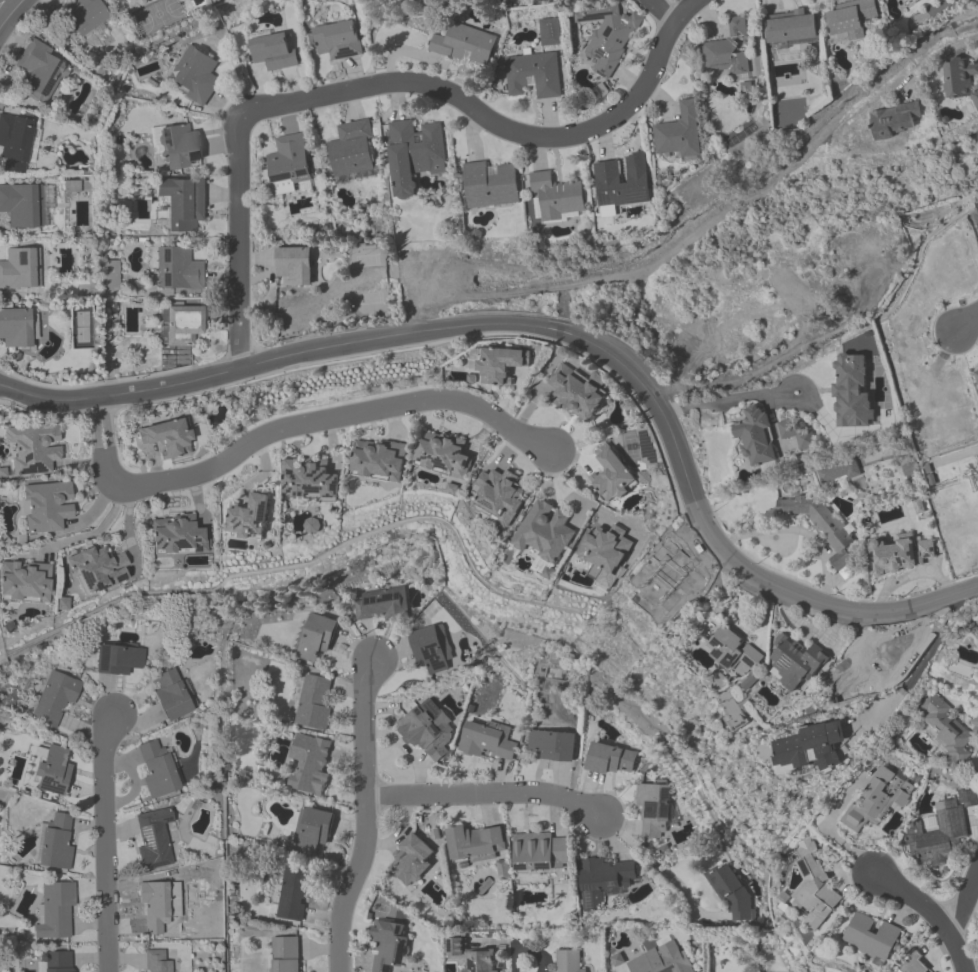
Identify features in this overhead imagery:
building: (540, 0)
road: (660, 9)
road: (682, 9)
road: (9, 12)
building: (86, 17)
building: (849, 21)
building: (790, 29)
building: (549, 32)
building: (607, 36)
building: (338, 40)
building: (463, 45)
building: (274, 50)
building: (728, 53)
road: (933, 56)
building: (41, 74)
building: (194, 74)
building: (533, 75)
building: (960, 81)
road: (363, 85)
building: (894, 120)
building: (678, 134)
building: (15, 143)
building: (180, 148)
building: (351, 151)
building: (414, 156)
building: (289, 162)
building: (489, 186)
building: (620, 186)
building: (556, 198)
building: (183, 203)
building: (19, 207)
building: (858, 258)
building: (294, 267)
building: (21, 270)
building: (179, 271)
building: (790, 284)
road: (966, 321)
building: (182, 327)
building: (16, 328)
road: (555, 329)
road: (782, 358)
building: (501, 364)
building: (851, 392)
building: (576, 394)
road: (727, 398)
road: (289, 430)
building: (797, 435)
building: (169, 438)
building: (758, 439)
building: (34, 449)
building: (443, 457)
building: (378, 461)
building: (839, 471)
building: (611, 475)
building: (310, 480)
building: (501, 498)
building: (47, 507)
building: (251, 517)
building: (821, 525)
building: (315, 526)
road: (90, 536)
building: (177, 537)
building: (546, 537)
road: (797, 537)
building: (604, 552)
building: (900, 554)
building: (99, 570)
building: (25, 583)
building: (381, 604)
building: (976, 627)
building: (316, 639)
building: (432, 648)
building: (733, 654)
building: (119, 659)
building: (794, 665)
road: (916, 668)
building: (172, 696)
building: (56, 698)
building: (312, 702)
building: (732, 714)
building: (948, 731)
building: (424, 735)
building: (486, 741)
building: (552, 746)
building: (801, 750)
building: (610, 761)
building: (157, 768)
building: (313, 768)
building: (54, 770)
road: (484, 794)
building: (877, 800)
building: (653, 812)
road: (364, 817)
building: (941, 832)
building: (312, 833)
building: (156, 838)
road: (105, 841)
building: (55, 842)
building: (476, 844)
building: (540, 852)
building: (412, 860)
road: (658, 868)
building: (603, 880)
building: (813, 887)
building: (731, 894)
building: (293, 895)
road: (964, 900)
building: (156, 906)
building: (56, 912)
road: (927, 917)
building: (871, 939)
building: (387, 945)
building: (284, 954)
building: (469, 956)
building: (566, 960)
building: (661, 960)
building: (56, 961)
building: (156, 961)
road: (517, 963)
building: (914, 965)

